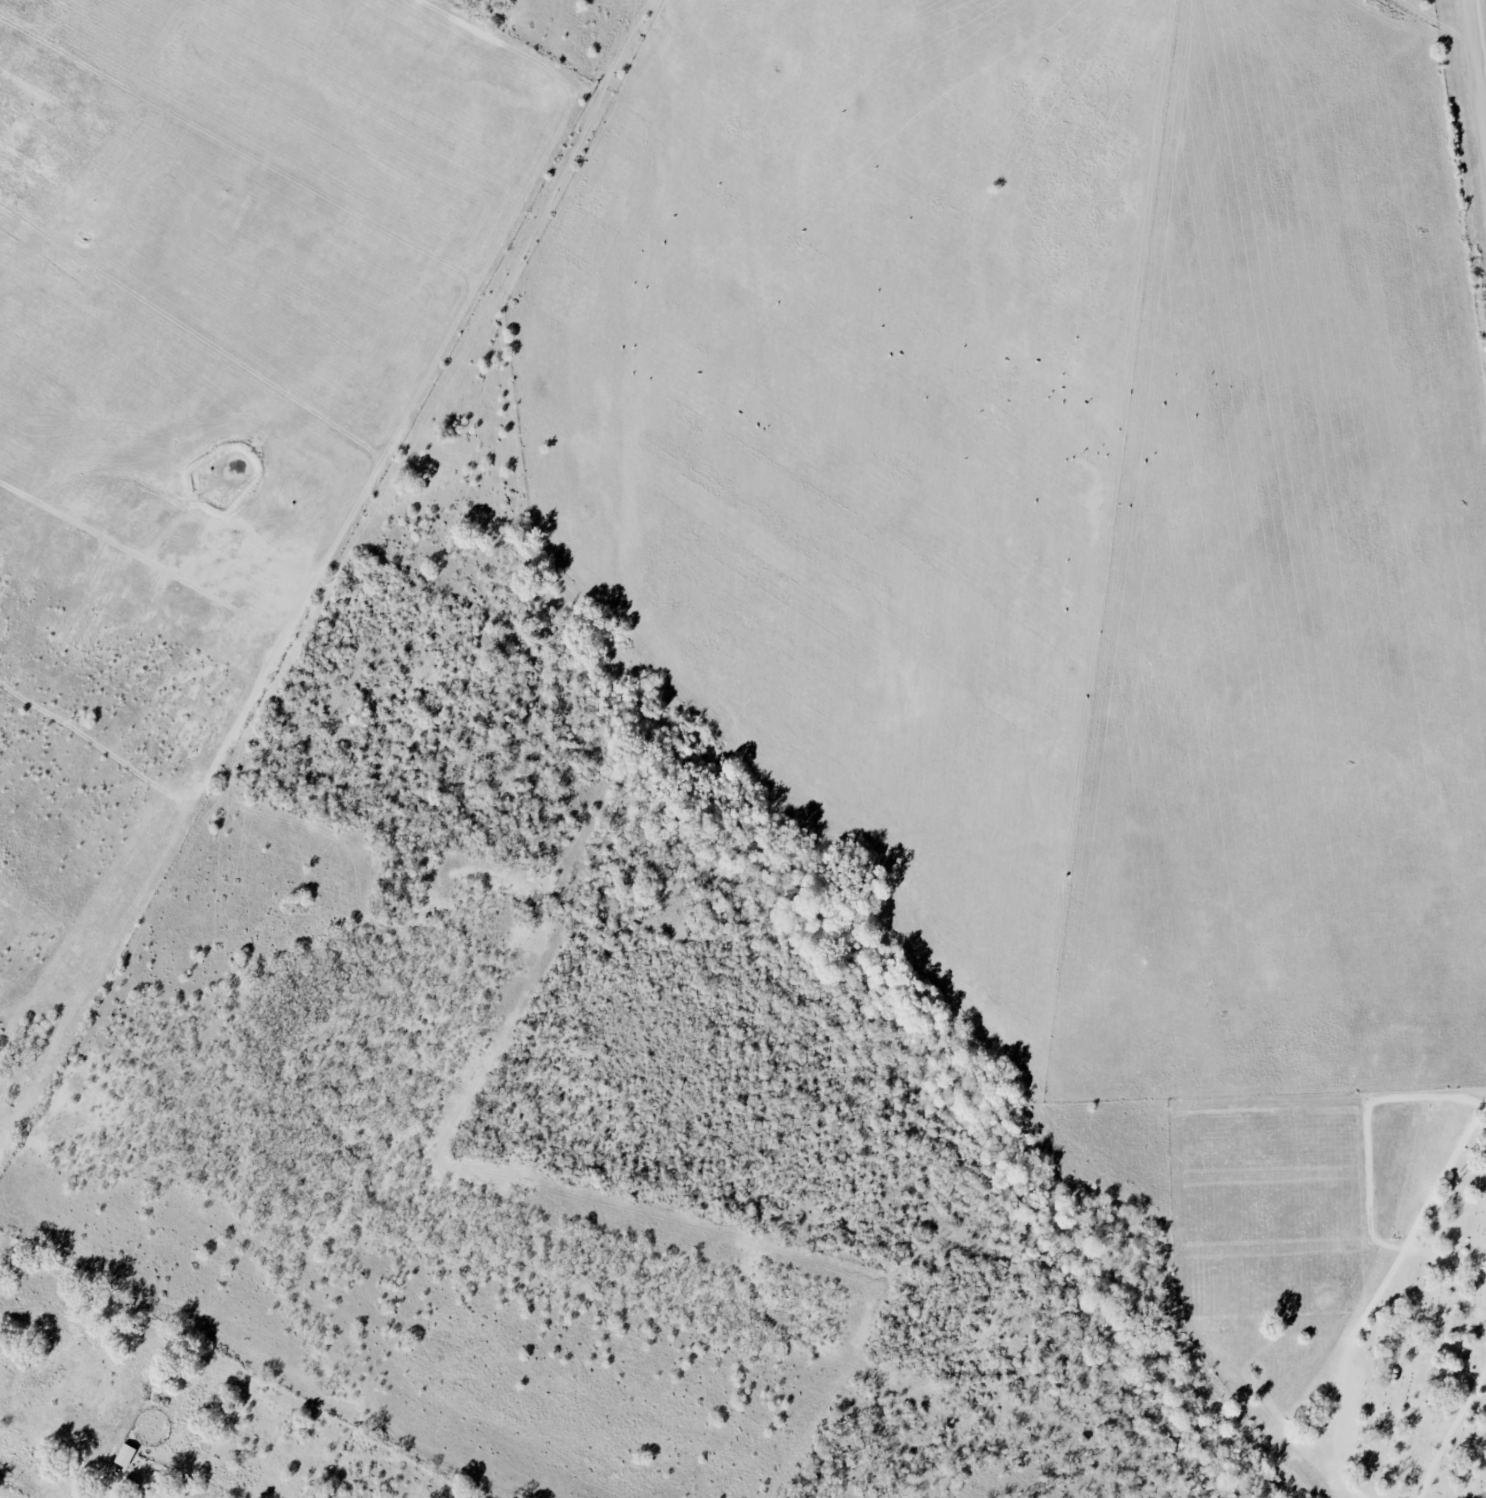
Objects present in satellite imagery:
road: (1482, 18)
road: (1437, 1185)
road: (1355, 1333)
park: (1410, 1359)
road: (1450, 1431)
building: (125, 1455)

